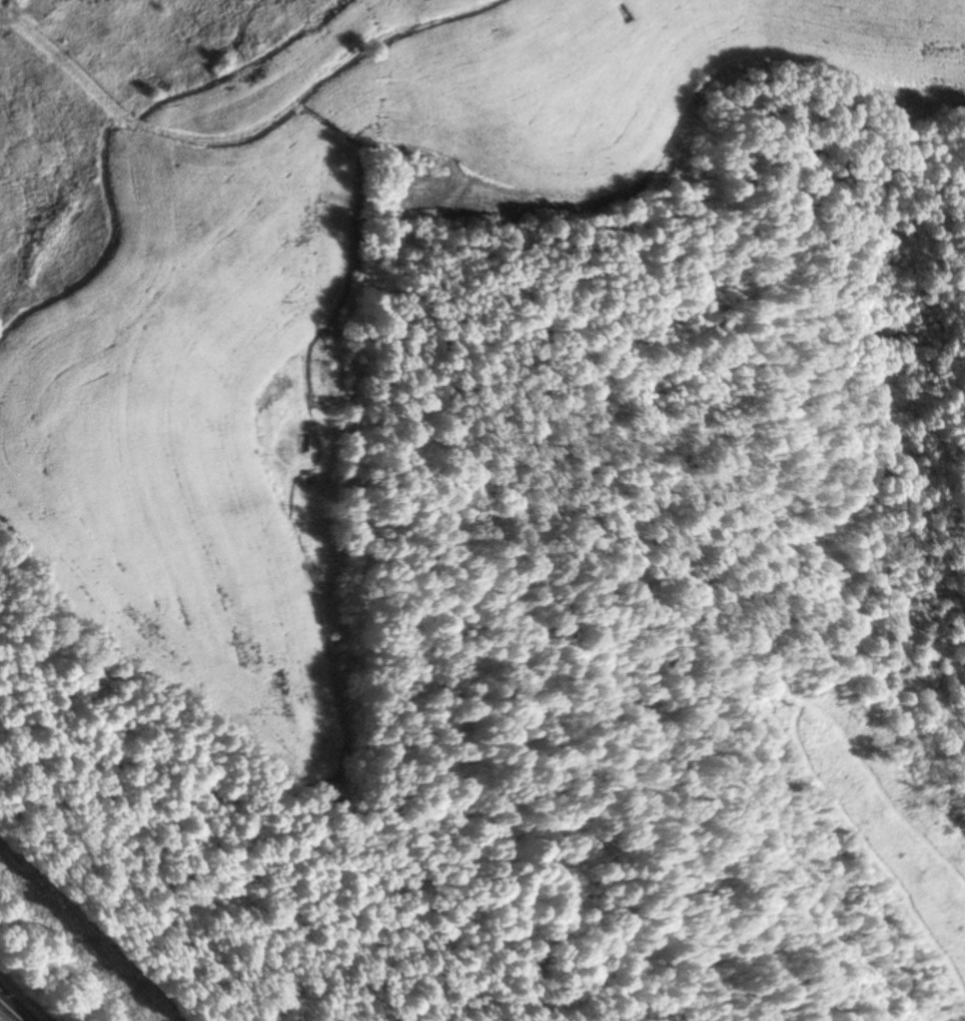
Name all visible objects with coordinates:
road: (10, 1011)

